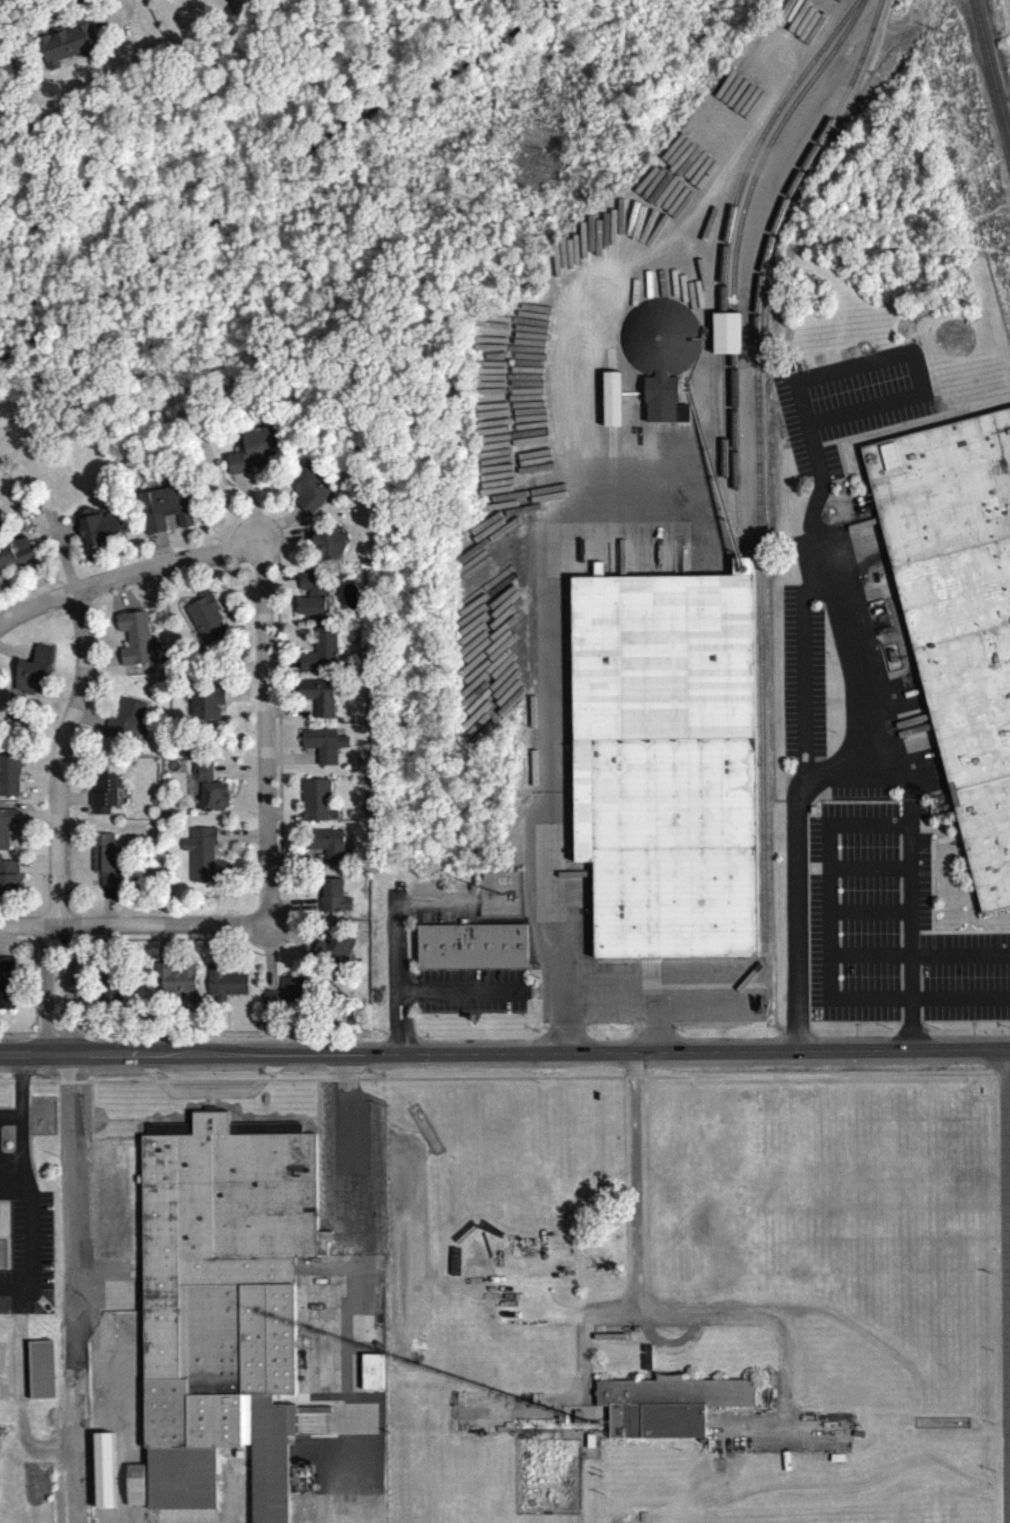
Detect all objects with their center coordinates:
building: (62, 49)
railway: (993, 68)
railway: (728, 240)
railway: (736, 257)
building: (726, 338)
building: (660, 358)
road: (916, 379)
building: (611, 404)
road: (802, 408)
road: (965, 423)
building: (253, 454)
railway: (757, 466)
building: (309, 492)
road: (249, 509)
building: (165, 512)
road: (278, 526)
building: (99, 533)
road: (284, 539)
building: (326, 547)
road: (158, 553)
building: (16, 558)
road: (62, 560)
road: (258, 564)
road: (127, 579)
road: (36, 586)
road: (279, 586)
road: (235, 595)
building: (312, 598)
road: (120, 601)
road: (86, 606)
road: (71, 609)
building: (958, 618)
building: (204, 621)
road: (28, 622)
building: (134, 642)
building: (319, 655)
road: (16, 656)
road: (280, 666)
road: (117, 673)
building: (33, 675)
road: (802, 677)
road: (90, 681)
road: (243, 699)
building: (318, 701)
road: (841, 703)
building: (205, 709)
road: (287, 715)
road: (87, 724)
building: (127, 725)
road: (543, 730)
road: (262, 735)
parking lot: (863, 746)
building: (322, 748)
road: (855, 750)
road: (56, 761)
road: (289, 763)
road: (894, 763)
building: (665, 767)
road: (237, 776)
building: (9, 780)
road: (36, 791)
building: (209, 793)
building: (103, 795)
road: (72, 803)
building: (317, 805)
road: (282, 818)
road: (35, 820)
building: (6, 829)
road: (944, 829)
road: (913, 831)
road: (935, 833)
road: (239, 842)
building: (325, 849)
road: (960, 856)
building: (203, 860)
building: (103, 862)
road: (294, 863)
road: (930, 865)
road: (35, 871)
road: (828, 874)
road: (868, 874)
road: (932, 878)
building: (8, 882)
parking lot: (443, 895)
power substation: (498, 898)
building: (332, 901)
road: (972, 905)
road: (107, 910)
road: (291, 910)
road: (952, 910)
road: (292, 912)
road: (964, 912)
road: (868, 915)
parking lot: (441, 916)
street lamp: (81, 918)
road: (966, 921)
road: (395, 922)
road: (500, 924)
road: (70, 930)
road: (160, 930)
road: (27, 931)
road: (962, 937)
road: (909, 938)
road: (912, 938)
road: (290, 940)
road: (111, 942)
road: (54, 944)
road: (3, 945)
road: (77, 945)
road: (32, 946)
road: (161, 948)
road: (214, 948)
building: (471, 952)
building: (332, 954)
road: (919, 958)
road: (268, 962)
road: (474, 974)
road: (32, 976)
building: (109, 981)
building: (175, 981)
road: (426, 984)
building: (6, 987)
building: (224, 987)
road: (43, 992)
road: (67, 993)
road: (459, 993)
parking lot: (469, 995)
building: (284, 998)
road: (397, 1003)
road: (656, 1003)
road: (919, 1006)
road: (657, 1030)
road: (221, 1035)
road: (55, 1037)
road: (18, 1038)
road: (401, 1045)
road: (761, 1055)
road: (130, 1059)
road: (351, 1059)
road: (58, 1060)
road: (8, 1061)
road: (31, 1061)
road: (70, 1073)
road: (1003, 1079)
road: (996, 1080)
road: (537, 1083)
road: (18, 1087)
road: (41, 1087)
road: (63, 1087)
road: (74, 1087)
road: (5, 1088)
road: (210, 1092)
road: (9, 1100)
parking lot: (214, 1100)
road: (210, 1104)
road: (89, 1116)
road: (316, 1119)
road: (18, 1121)
road: (303, 1122)
road: (121, 1124)
building: (424, 1134)
road: (1009, 1150)
parking lot: (350, 1175)
road: (340, 1219)
parking lot: (23, 1226)
road: (29, 1239)
road: (108, 1272)
road: (108, 1302)
road: (74, 1305)
building: (221, 1305)
road: (15, 1306)
road: (637, 1307)
road: (637, 1320)
road: (702, 1326)
parking lot: (613, 1330)
road: (782, 1341)
road: (668, 1343)
road: (671, 1345)
road: (589, 1347)
road: (341, 1367)
building: (41, 1374)
building: (371, 1376)
building: (669, 1402)
road: (19, 1407)
road: (117, 1411)
building: (579, 1418)
road: (586, 1420)
building: (941, 1427)
road: (813, 1436)
building: (592, 1438)
road: (232, 1471)
building: (103, 1475)
building: (134, 1489)

